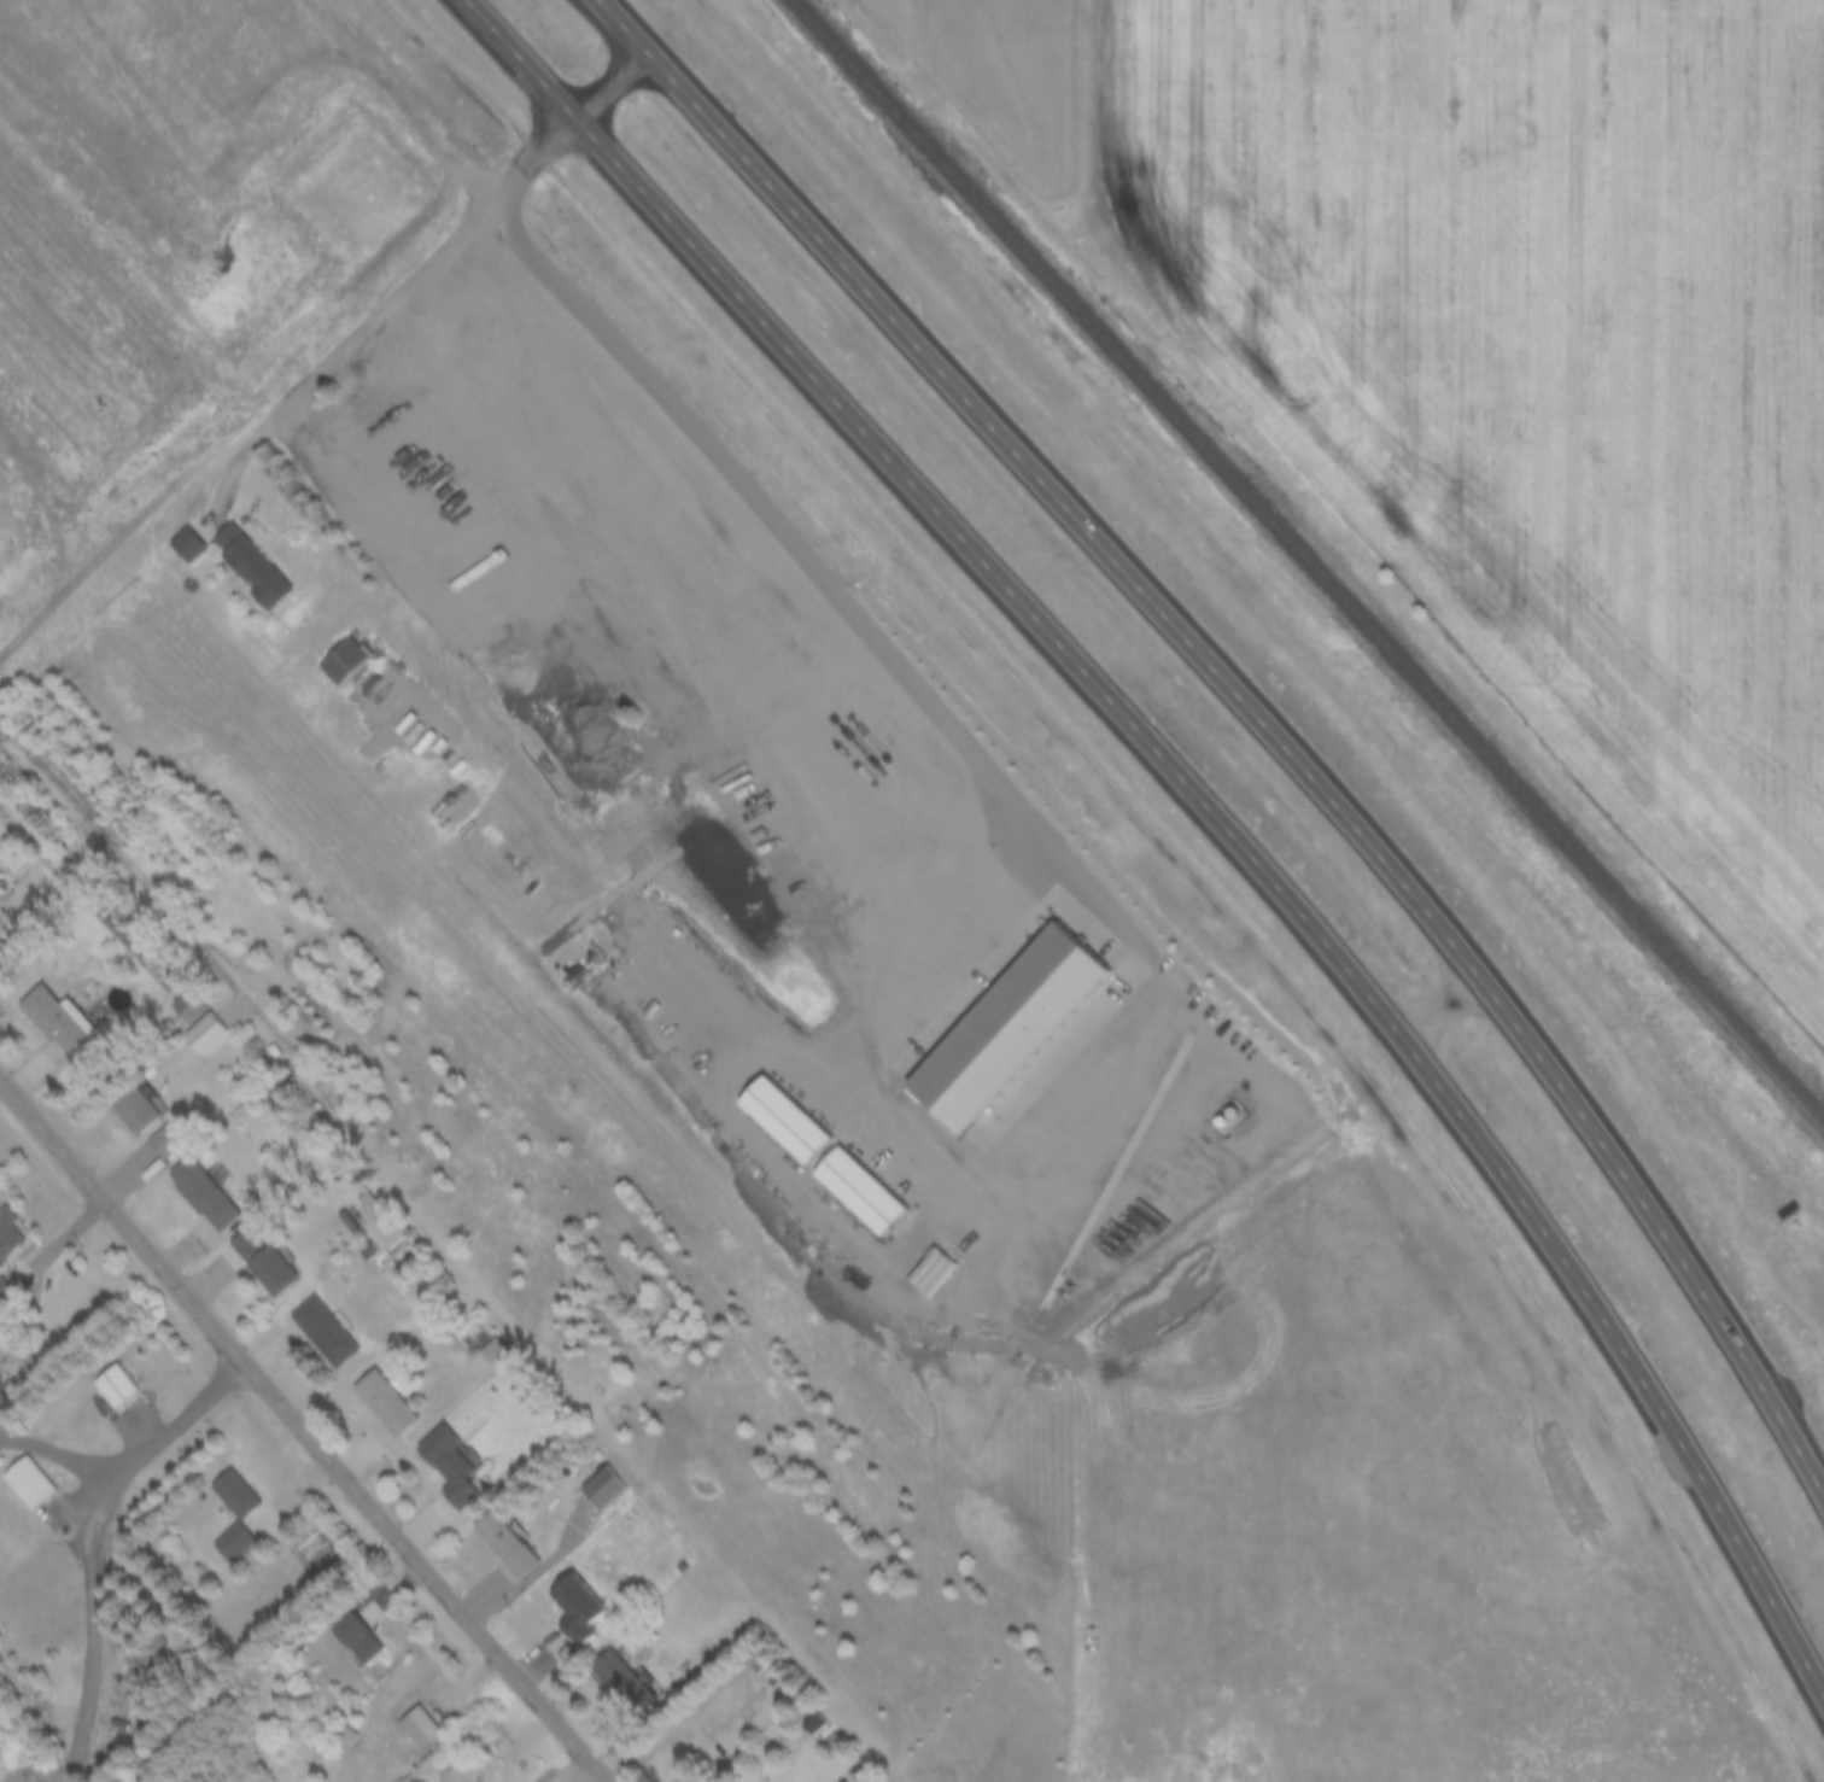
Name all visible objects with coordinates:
road: (411, 280)
building: (563, 432)
building: (684, 560)
railway: (1308, 561)
building: (236, 562)
building: (715, 592)
building: (344, 660)
road: (1255, 708)
road: (1202, 799)
road: (1152, 845)
building: (54, 1021)
building: (1002, 1029)
building: (201, 1034)
building: (129, 1112)
building: (198, 1194)
building: (361, 1203)
building: (6, 1235)
building: (240, 1243)
building: (265, 1270)
building: (2, 1291)
building: (318, 1332)
road: (8, 1351)
building: (490, 1352)
road: (1797, 1387)
building: (380, 1404)
road: (300, 1432)
road: (151, 1442)
building: (443, 1467)
building: (25, 1483)
building: (598, 1489)
building: (229, 1514)
building: (501, 1547)
building: (353, 1638)
building: (153, 1643)
building: (614, 1682)
building: (814, 1723)
building: (416, 1729)
building: (346, 1737)

